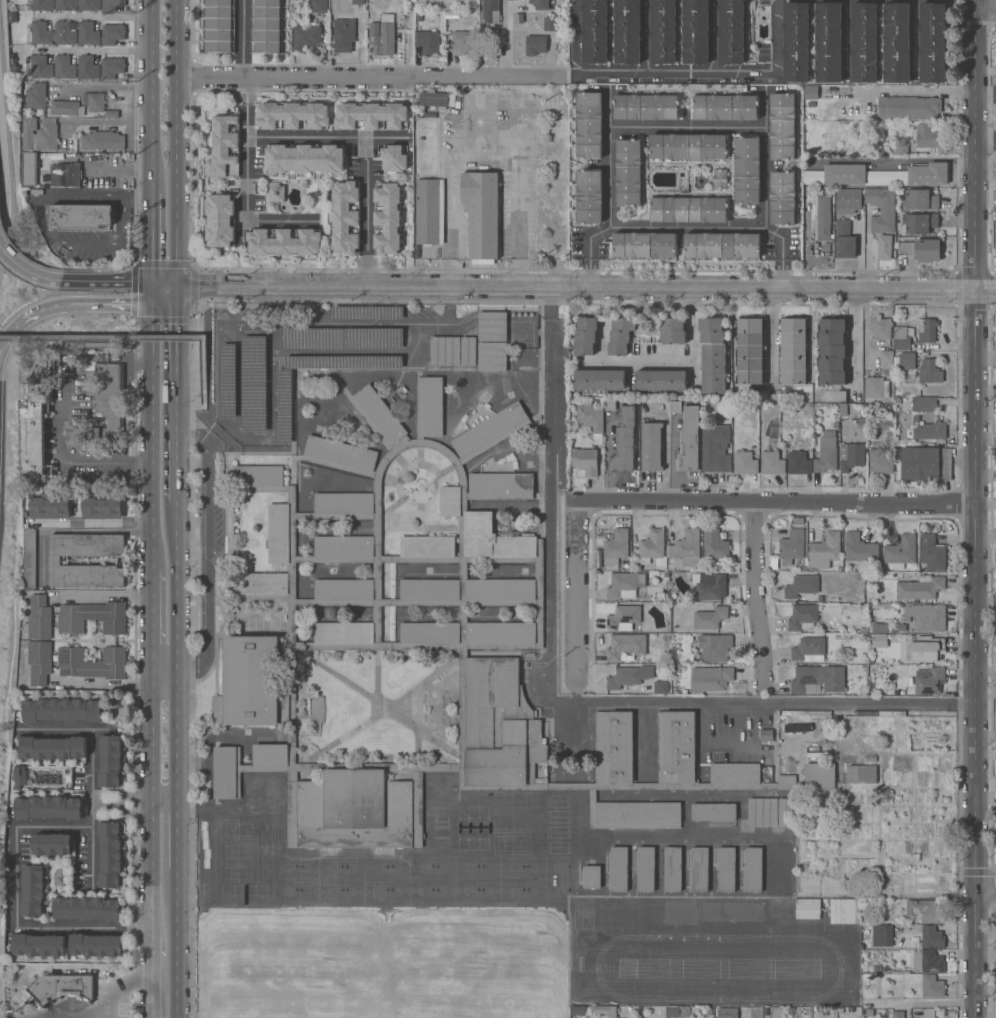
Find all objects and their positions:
building: (358, 1)
building: (413, 1)
building: (539, 4)
building: (42, 5)
building: (65, 5)
building: (89, 5)
building: (111, 5)
building: (317, 6)
road: (986, 10)
building: (490, 11)
building: (452, 15)
road: (98, 16)
building: (418, 17)
building: (550, 24)
building: (218, 26)
building: (266, 26)
building: (282, 29)
building: (595, 31)
building: (626, 31)
building: (663, 31)
building: (695, 32)
building: (731, 32)
building: (41, 33)
building: (64, 33)
building: (87, 33)
building: (112, 34)
building: (343, 35)
building: (382, 35)
road: (775, 35)
building: (305, 37)
road: (243, 39)
road: (508, 41)
building: (427, 42)
building: (796, 42)
building: (828, 42)
building: (864, 42)
building: (896, 42)
building: (463, 43)
building: (932, 43)
building: (535, 45)
road: (96, 51)
building: (40, 67)
building: (64, 67)
building: (87, 67)
building: (112, 67)
road: (678, 72)
road: (369, 78)
road: (912, 91)
building: (811, 92)
road: (986, 94)
building: (36, 96)
road: (151, 96)
building: (438, 99)
building: (94, 101)
building: (646, 107)
building: (725, 107)
building: (66, 108)
road: (609, 108)
road: (764, 108)
building: (908, 108)
building: (40, 112)
building: (292, 116)
building: (371, 116)
building: (589, 126)
building: (782, 126)
road: (687, 127)
building: (40, 134)
road: (326, 136)
building: (929, 139)
road: (987, 139)
building: (102, 140)
road: (176, 146)
building: (224, 147)
building: (688, 147)
building: (901, 149)
road: (246, 151)
road: (485, 154)
building: (53, 157)
building: (304, 158)
building: (394, 158)
building: (29, 169)
road: (118, 170)
building: (746, 170)
road: (7, 171)
building: (628, 172)
building: (65, 174)
building: (877, 175)
building: (719, 179)
building: (275, 192)
building: (589, 196)
building: (782, 198)
building: (847, 200)
building: (920, 200)
building: (881, 209)
building: (688, 210)
building: (429, 211)
building: (481, 213)
road: (365, 214)
building: (80, 216)
building: (822, 217)
building: (346, 218)
building: (386, 218)
building: (220, 220)
road: (283, 222)
building: (918, 223)
road: (688, 226)
road: (151, 238)
building: (844, 240)
building: (284, 241)
building: (644, 245)
building: (721, 245)
building: (885, 247)
building: (921, 249)
road: (587, 250)
road: (782, 253)
road: (27, 272)
road: (107, 283)
road: (163, 288)
road: (585, 291)
road: (151, 294)
road: (163, 299)
building: (921, 299)
road: (131, 304)
road: (46, 309)
building: (367, 313)
road: (444, 322)
building: (492, 326)
building: (926, 326)
building: (880, 328)
building: (995, 328)
building: (672, 330)
building: (585, 336)
building: (621, 336)
road: (772, 336)
building: (343, 338)
road: (690, 338)
building: (903, 338)
road: (102, 339)
road: (859, 342)
building: (445, 351)
building: (468, 351)
building: (750, 351)
building: (793, 351)
building: (832, 351)
building: (922, 354)
building: (712, 355)
building: (492, 356)
building: (886, 360)
road: (627, 361)
building: (906, 361)
building: (343, 362)
building: (929, 372)
building: (907, 375)
building: (599, 380)
building: (660, 380)
building: (228, 381)
building: (254, 383)
building: (876, 387)
road: (204, 388)
road: (176, 399)
building: (109, 400)
building: (924, 404)
building: (284, 406)
building: (610, 406)
building: (675, 407)
building: (592, 419)
building: (931, 431)
building: (33, 432)
building: (92, 434)
building: (624, 441)
building: (688, 441)
building: (651, 447)
building: (715, 448)
building: (826, 455)
building: (850, 456)
building: (585, 461)
building: (880, 461)
road: (87, 462)
building: (772, 462)
building: (744, 463)
building: (798, 463)
building: (926, 463)
building: (994, 477)
road: (552, 494)
road: (777, 504)
building: (50, 507)
building: (101, 507)
road: (972, 508)
building: (714, 544)
building: (652, 546)
building: (791, 546)
building: (615, 547)
building: (686, 548)
building: (859, 548)
building: (932, 550)
road: (208, 551)
building: (824, 551)
building: (901, 551)
building: (30, 559)
building: (54, 560)
building: (624, 563)
building: (671, 567)
building: (666, 577)
building: (624, 585)
road: (176, 586)
building: (709, 586)
building: (800, 586)
building: (920, 588)
road: (580, 593)
road: (759, 593)
road: (102, 596)
building: (674, 597)
road: (162, 605)
building: (678, 607)
building: (291, 614)
building: (37, 617)
building: (92, 617)
building: (625, 617)
building: (802, 617)
building: (926, 617)
building: (709, 618)
road: (150, 621)
building: (879, 628)
building: (901, 628)
building: (880, 640)
building: (620, 646)
building: (713, 647)
building: (809, 649)
building: (926, 649)
building: (39, 661)
building: (864, 662)
building: (92, 663)
building: (863, 669)
building: (632, 675)
building: (710, 679)
building: (817, 679)
building: (929, 680)
building: (661, 687)
building: (684, 692)
building: (675, 693)
building: (891, 694)
road: (762, 704)
building: (62, 710)
building: (806, 713)
building: (866, 714)
building: (849, 719)
building: (856, 725)
building: (766, 735)
building: (865, 744)
building: (53, 748)
building: (786, 755)
building: (869, 758)
building: (110, 761)
road: (90, 771)
building: (866, 776)
building: (20, 777)
building: (48, 807)
building: (713, 812)
building: (762, 812)
building: (785, 812)
road: (15, 841)
road: (176, 842)
building: (52, 844)
building: (110, 854)
road: (166, 860)
building: (619, 868)
building: (780, 868)
building: (645, 869)
building: (672, 869)
building: (699, 869)
building: (726, 869)
building: (753, 869)
building: (592, 877)
road: (985, 887)
building: (33, 890)
building: (808, 904)
building: (86, 908)
building: (926, 910)
building: (679, 911)
building: (717, 911)
building: (747, 911)
building: (854, 911)
building: (616, 915)
building: (647, 915)
road: (83, 929)
building: (882, 935)
building: (931, 938)
building: (39, 945)
building: (95, 945)
building: (927, 962)
building: (880, 969)
road: (150, 978)
building: (932, 986)
building: (60, 988)
road: (105, 1005)
road: (111, 1009)
building: (125, 1009)
building: (577, 1010)
building: (606, 1010)
building: (625, 1010)
building: (839, 1010)
building: (677, 1011)
building: (710, 1011)
building: (792, 1011)
building: (803, 1012)
building: (869, 1012)
building: (952, 1012)
building: (724, 1013)
building: (823, 1013)
building: (898, 1014)

